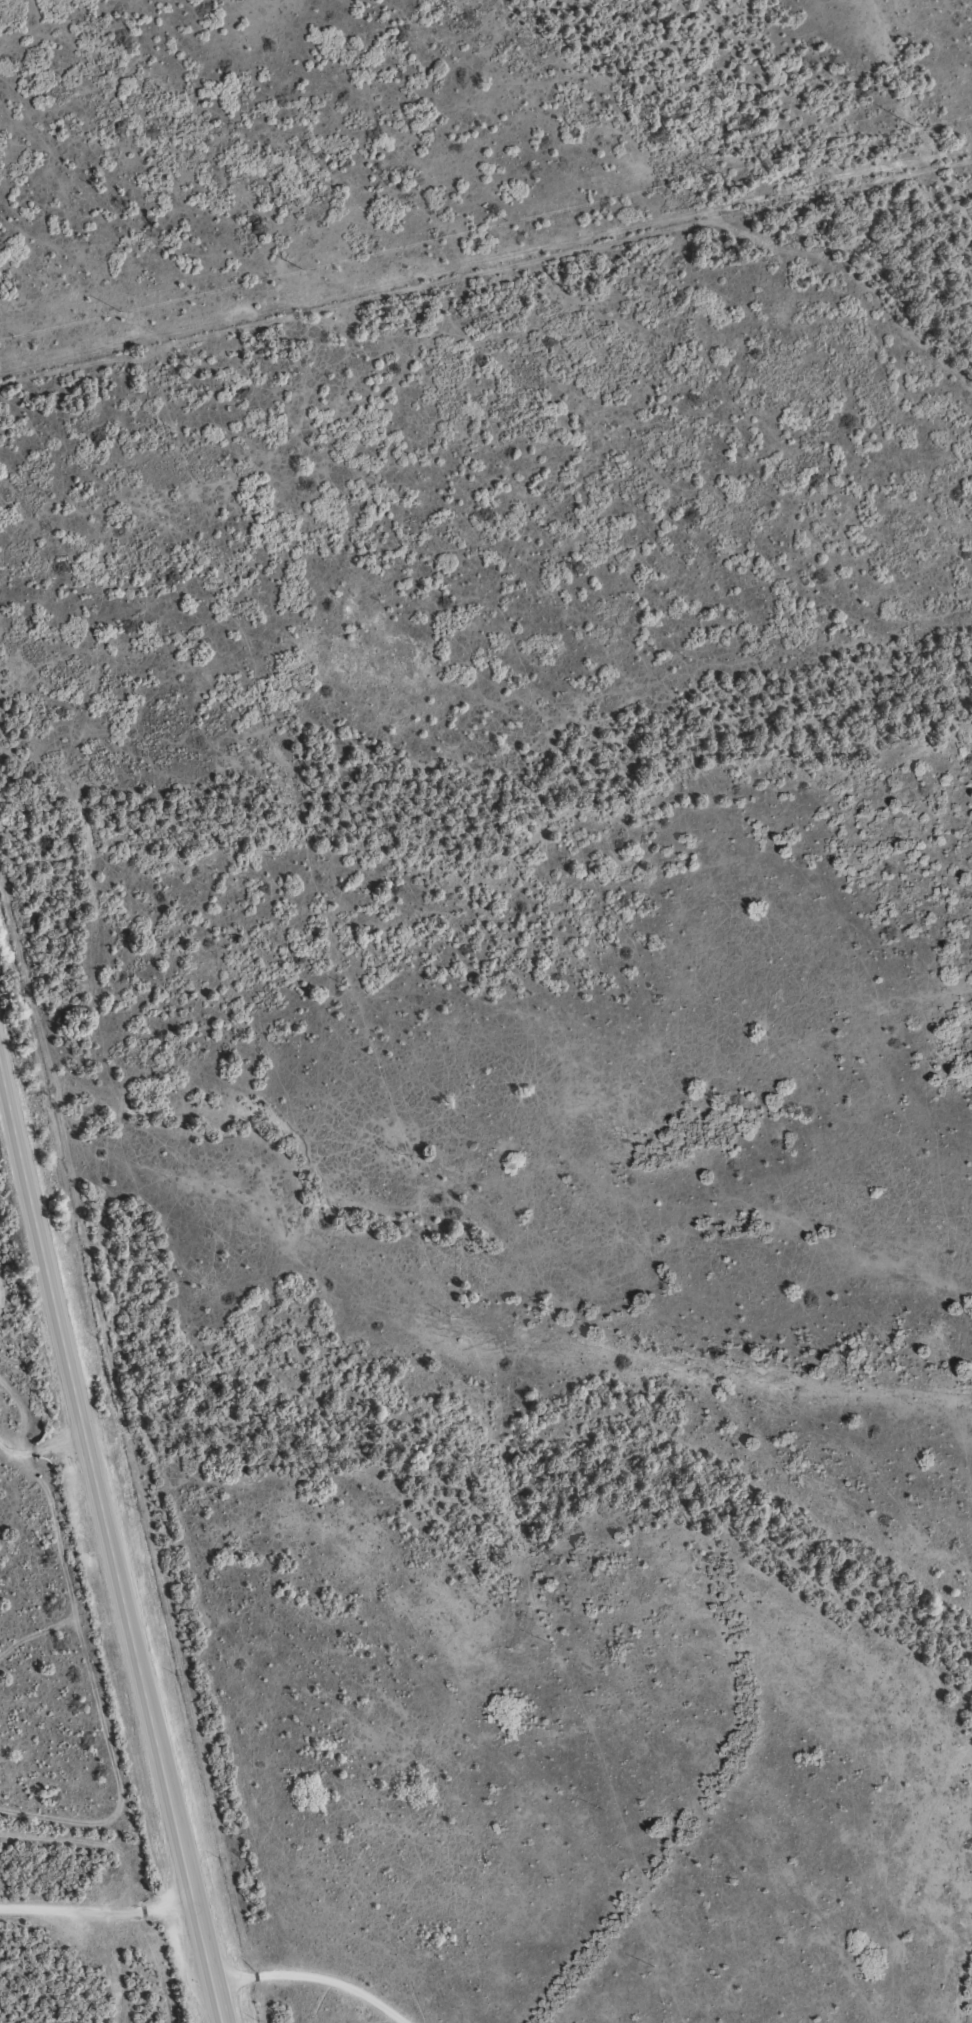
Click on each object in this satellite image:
road: (108, 1552)
road: (94, 1916)
road: (66, 1974)
road: (312, 1977)

